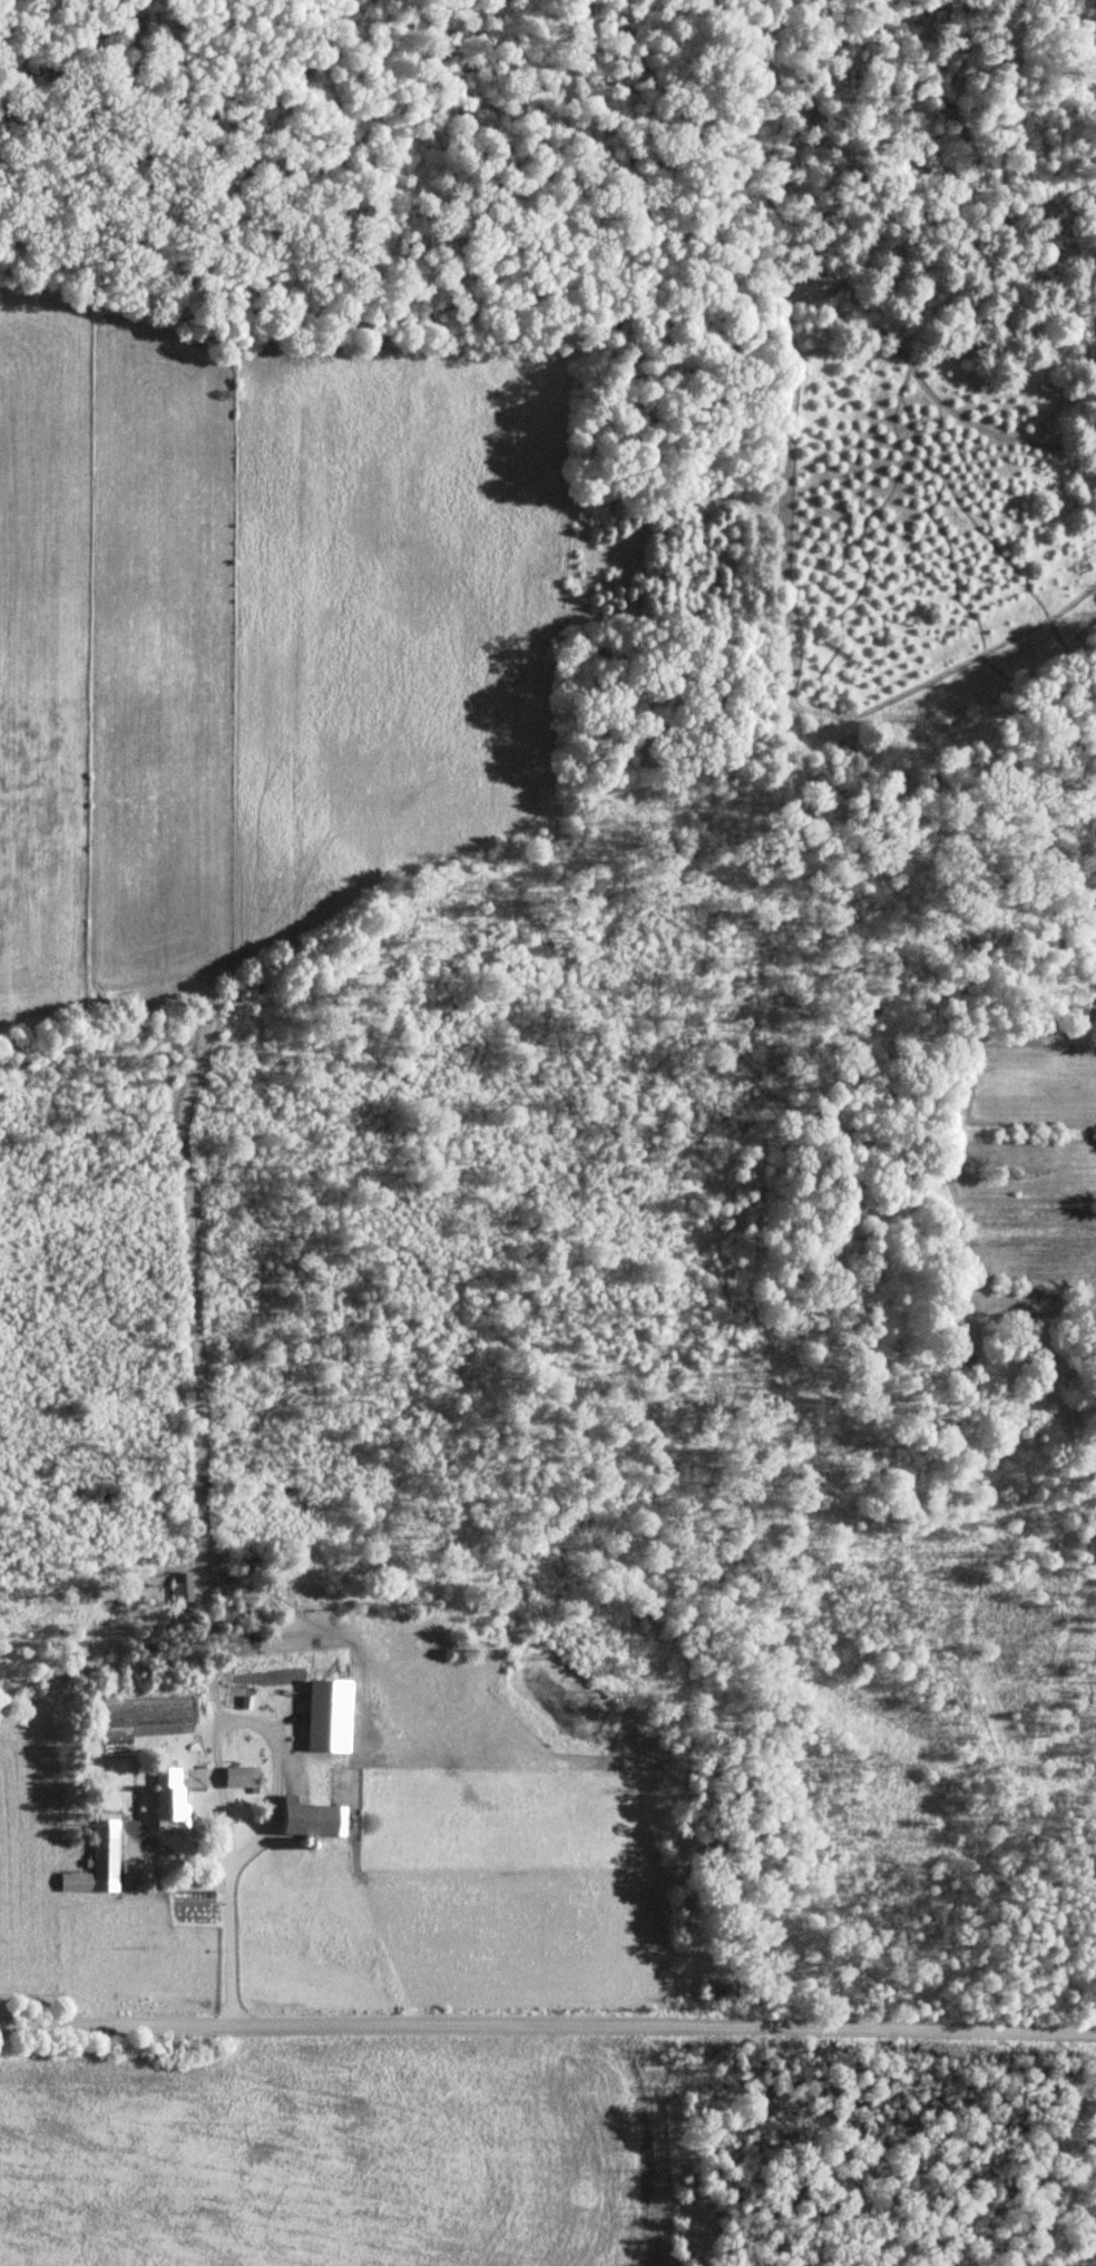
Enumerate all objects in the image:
building: (182, 1586)
building: (244, 1777)
road: (273, 1782)
building: (173, 1793)
building: (317, 1818)
building: (108, 1853)
road: (548, 2029)

